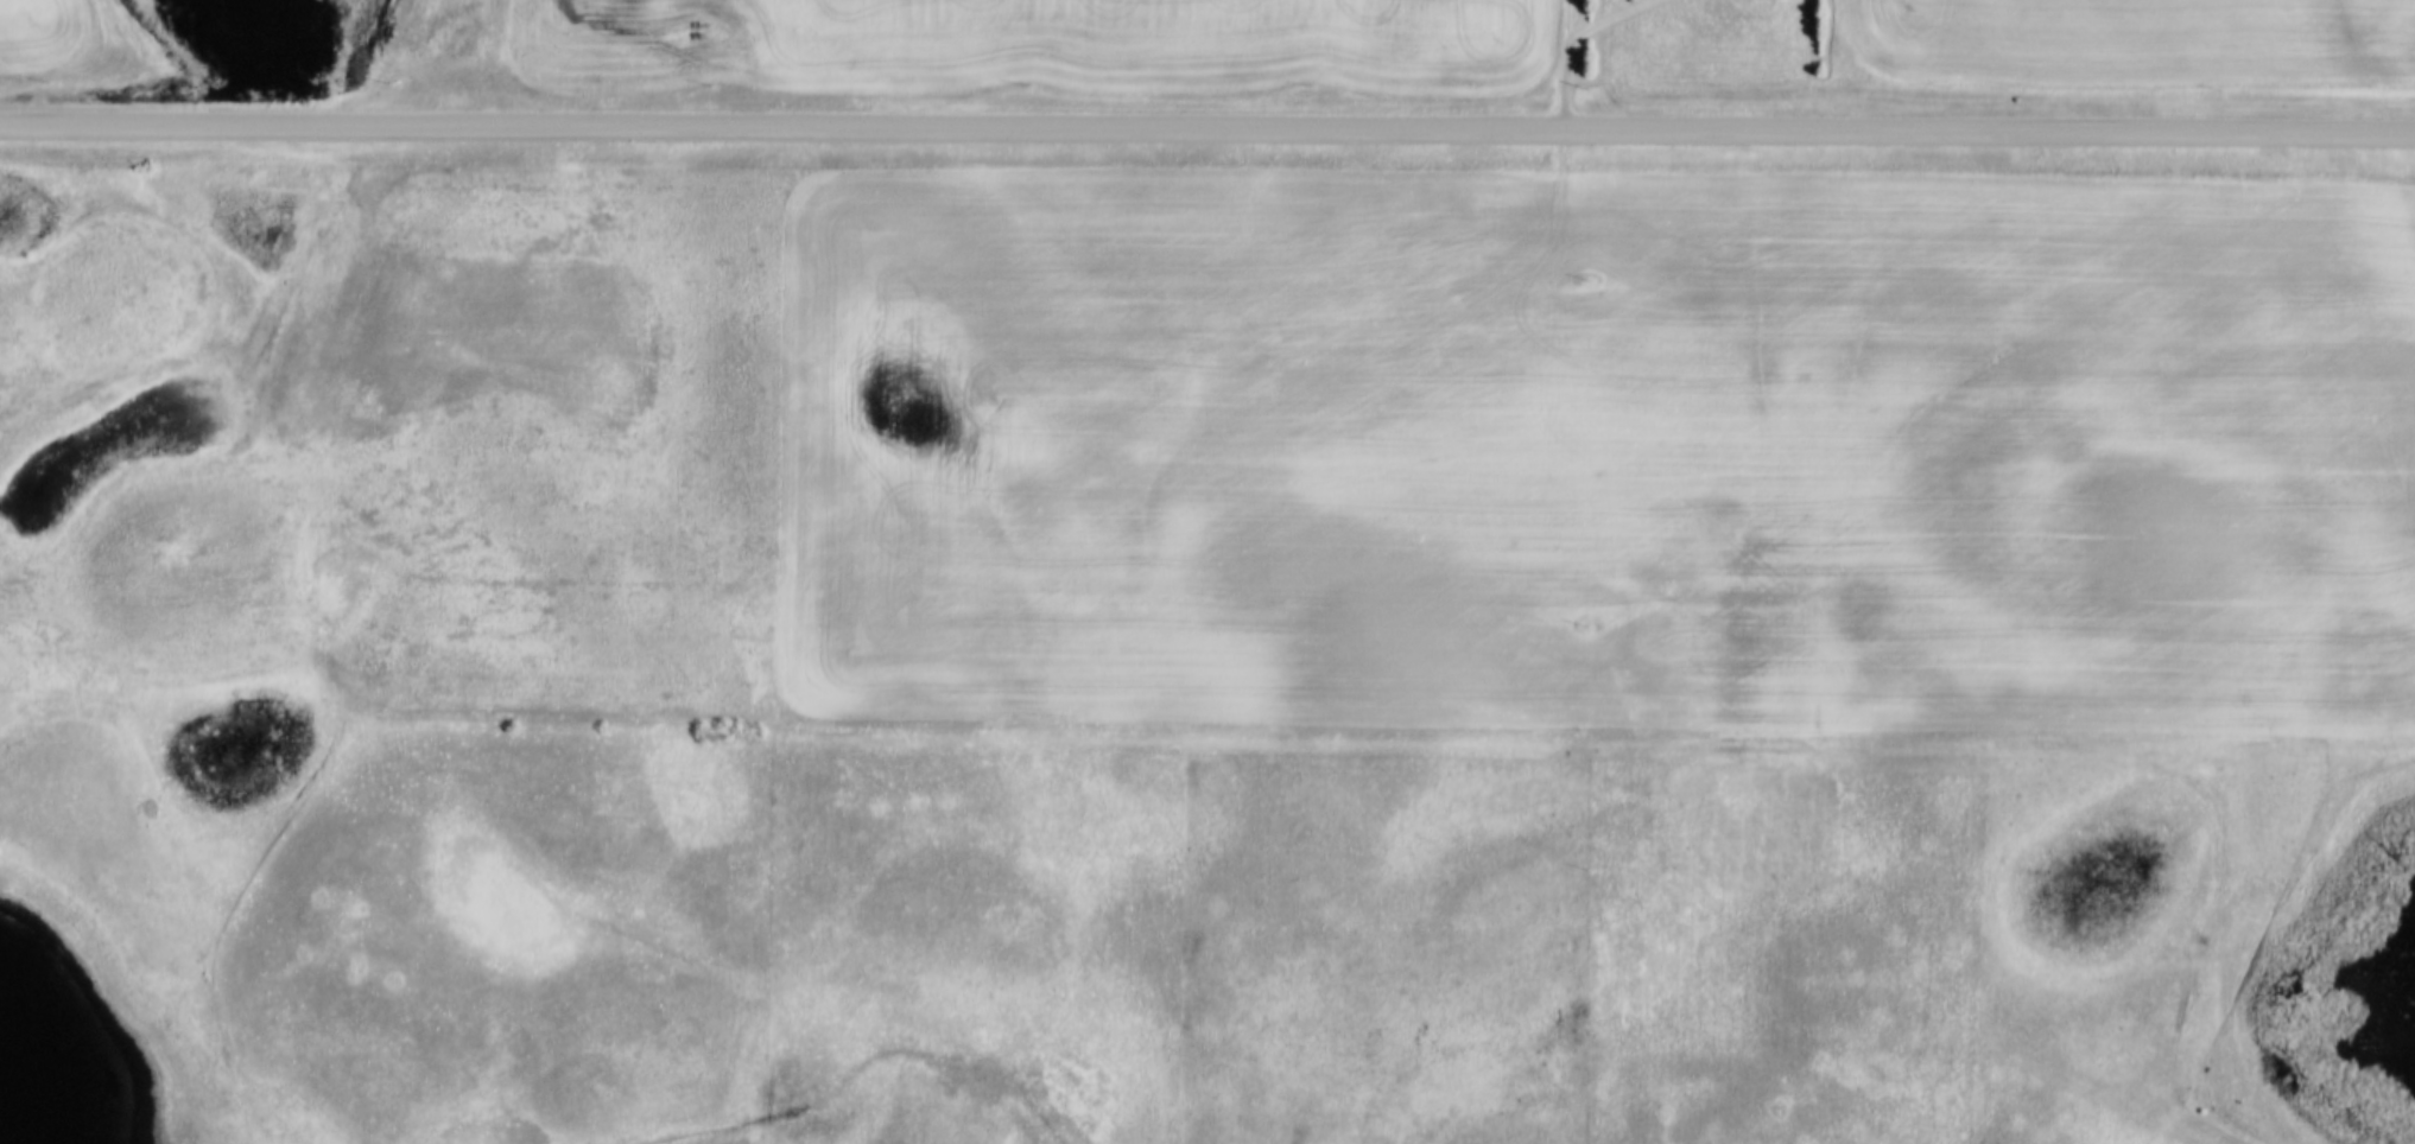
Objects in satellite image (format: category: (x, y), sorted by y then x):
park: (1713, 37)
road: (1573, 44)
road: (1207, 127)
road: (2218, 889)

